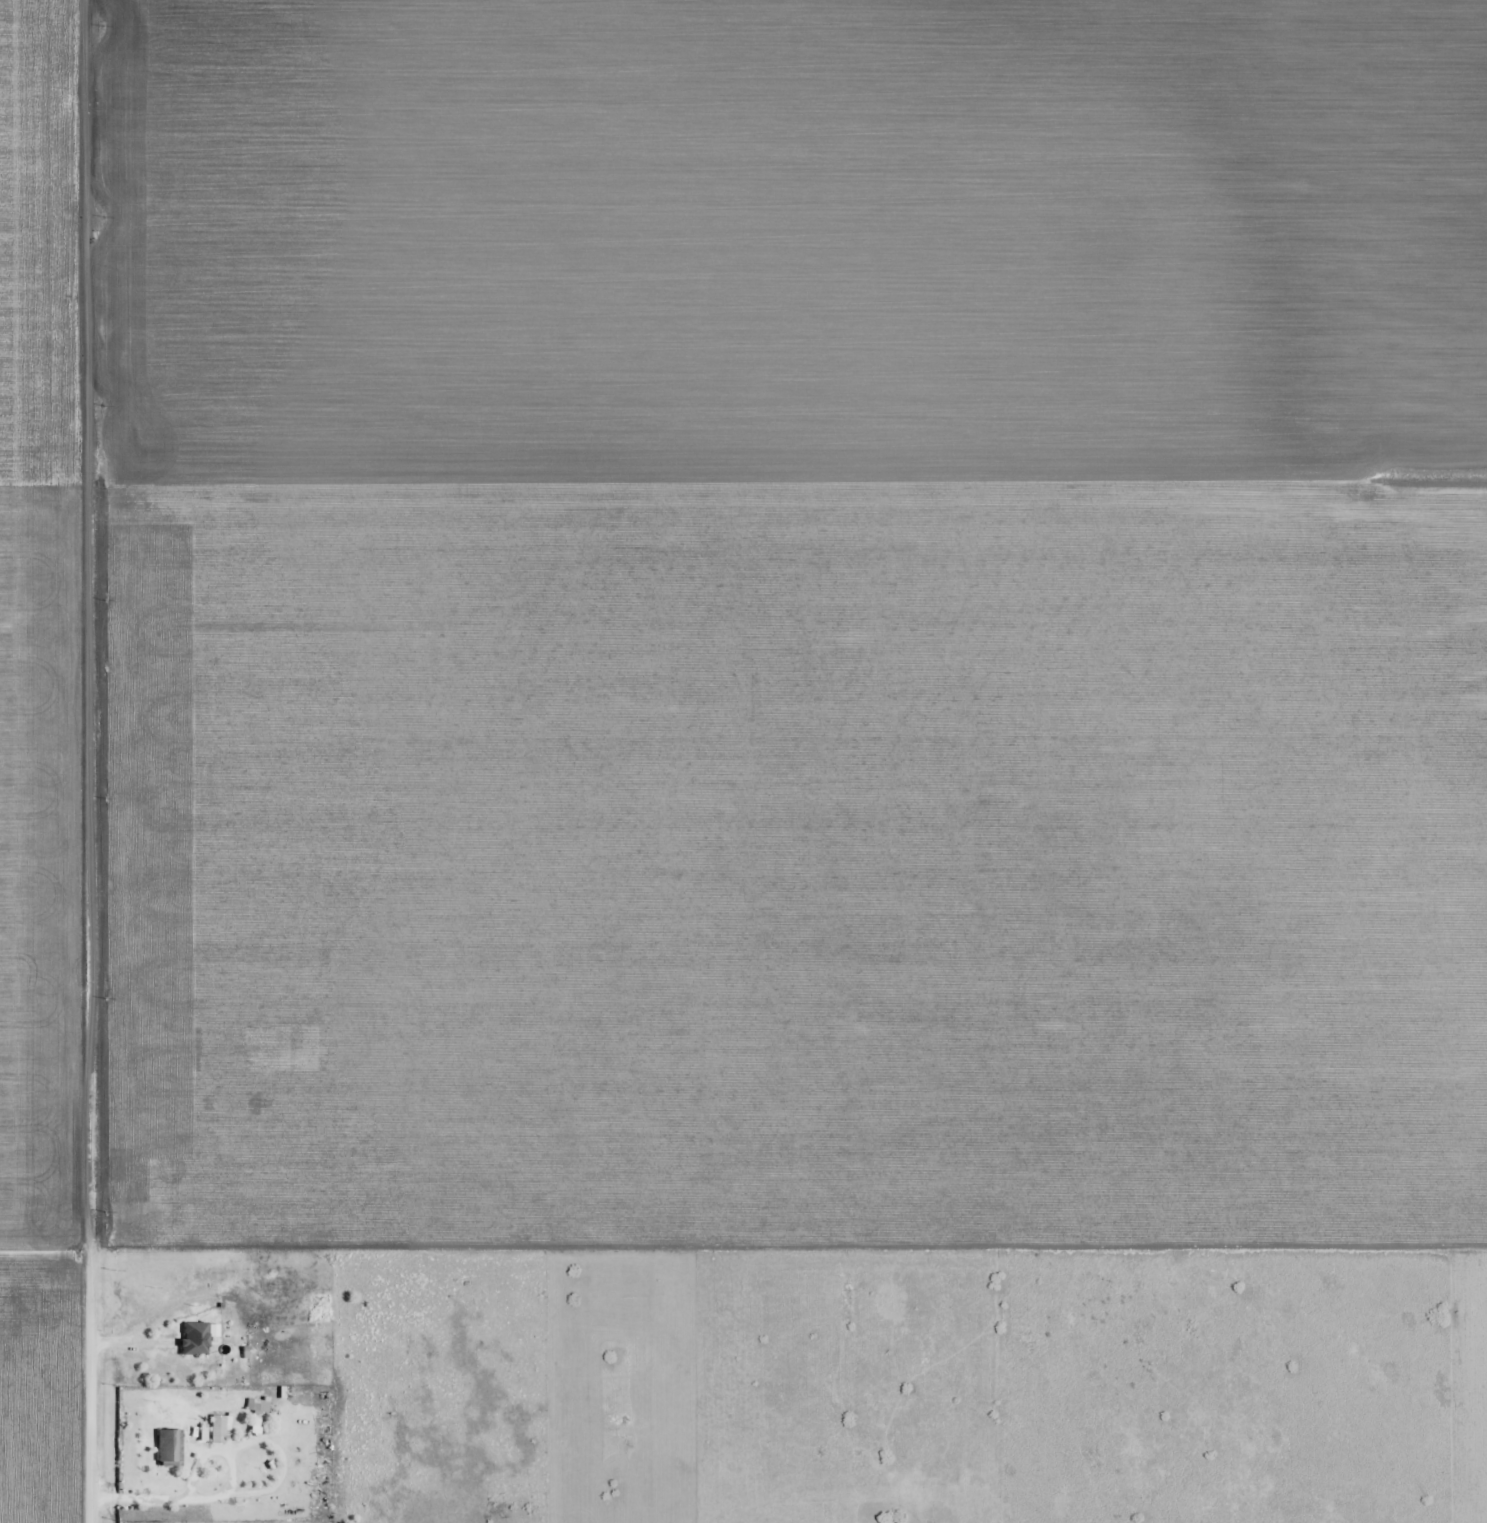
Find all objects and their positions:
road: (93, 761)
building: (194, 1338)
building: (221, 1429)
building: (170, 1445)

